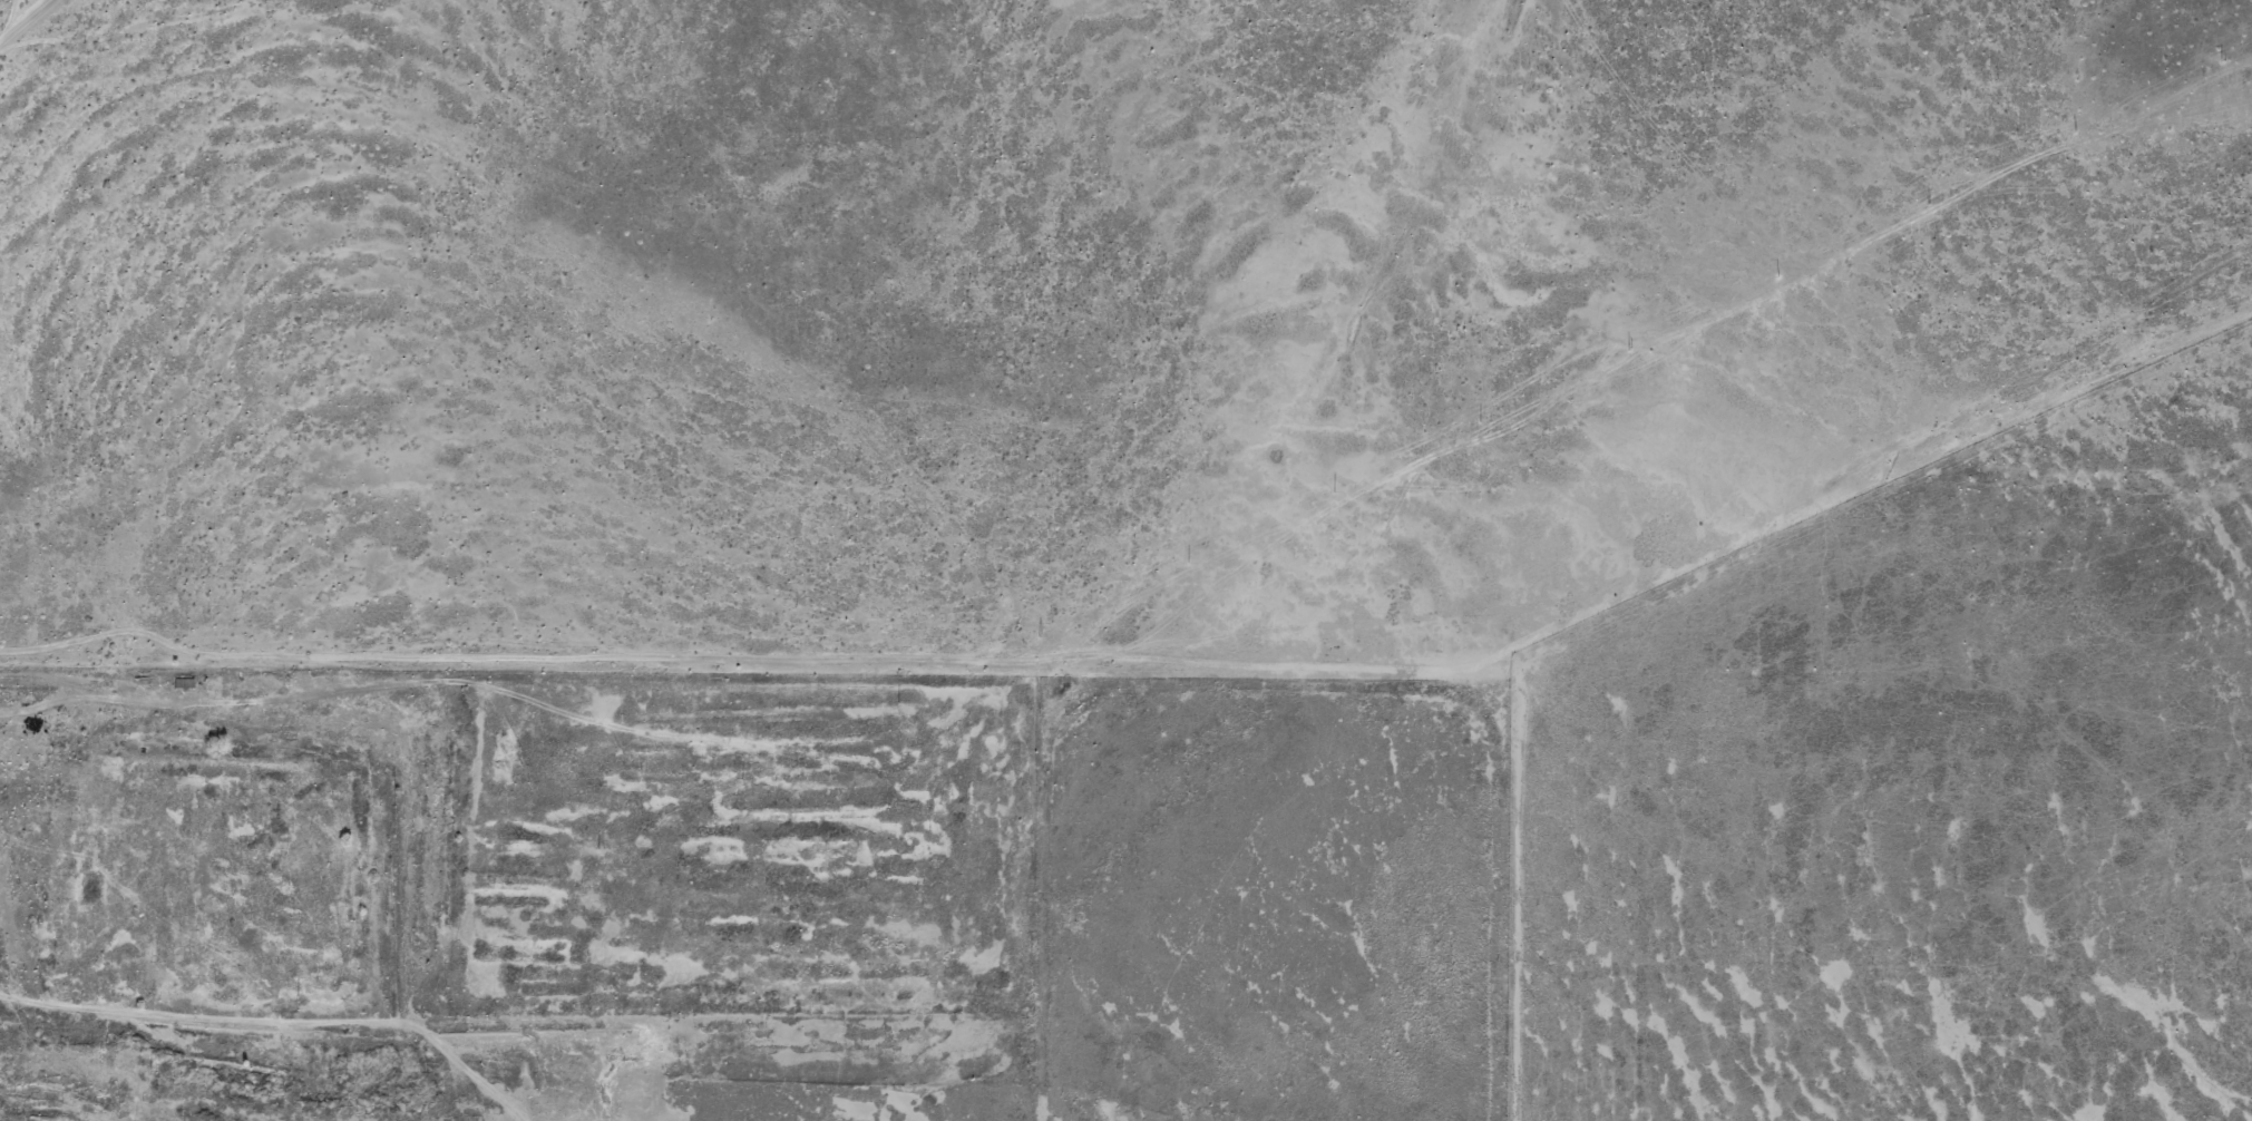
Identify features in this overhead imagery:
road: (6, 4)
building: (183, 684)
road: (1158, 739)

